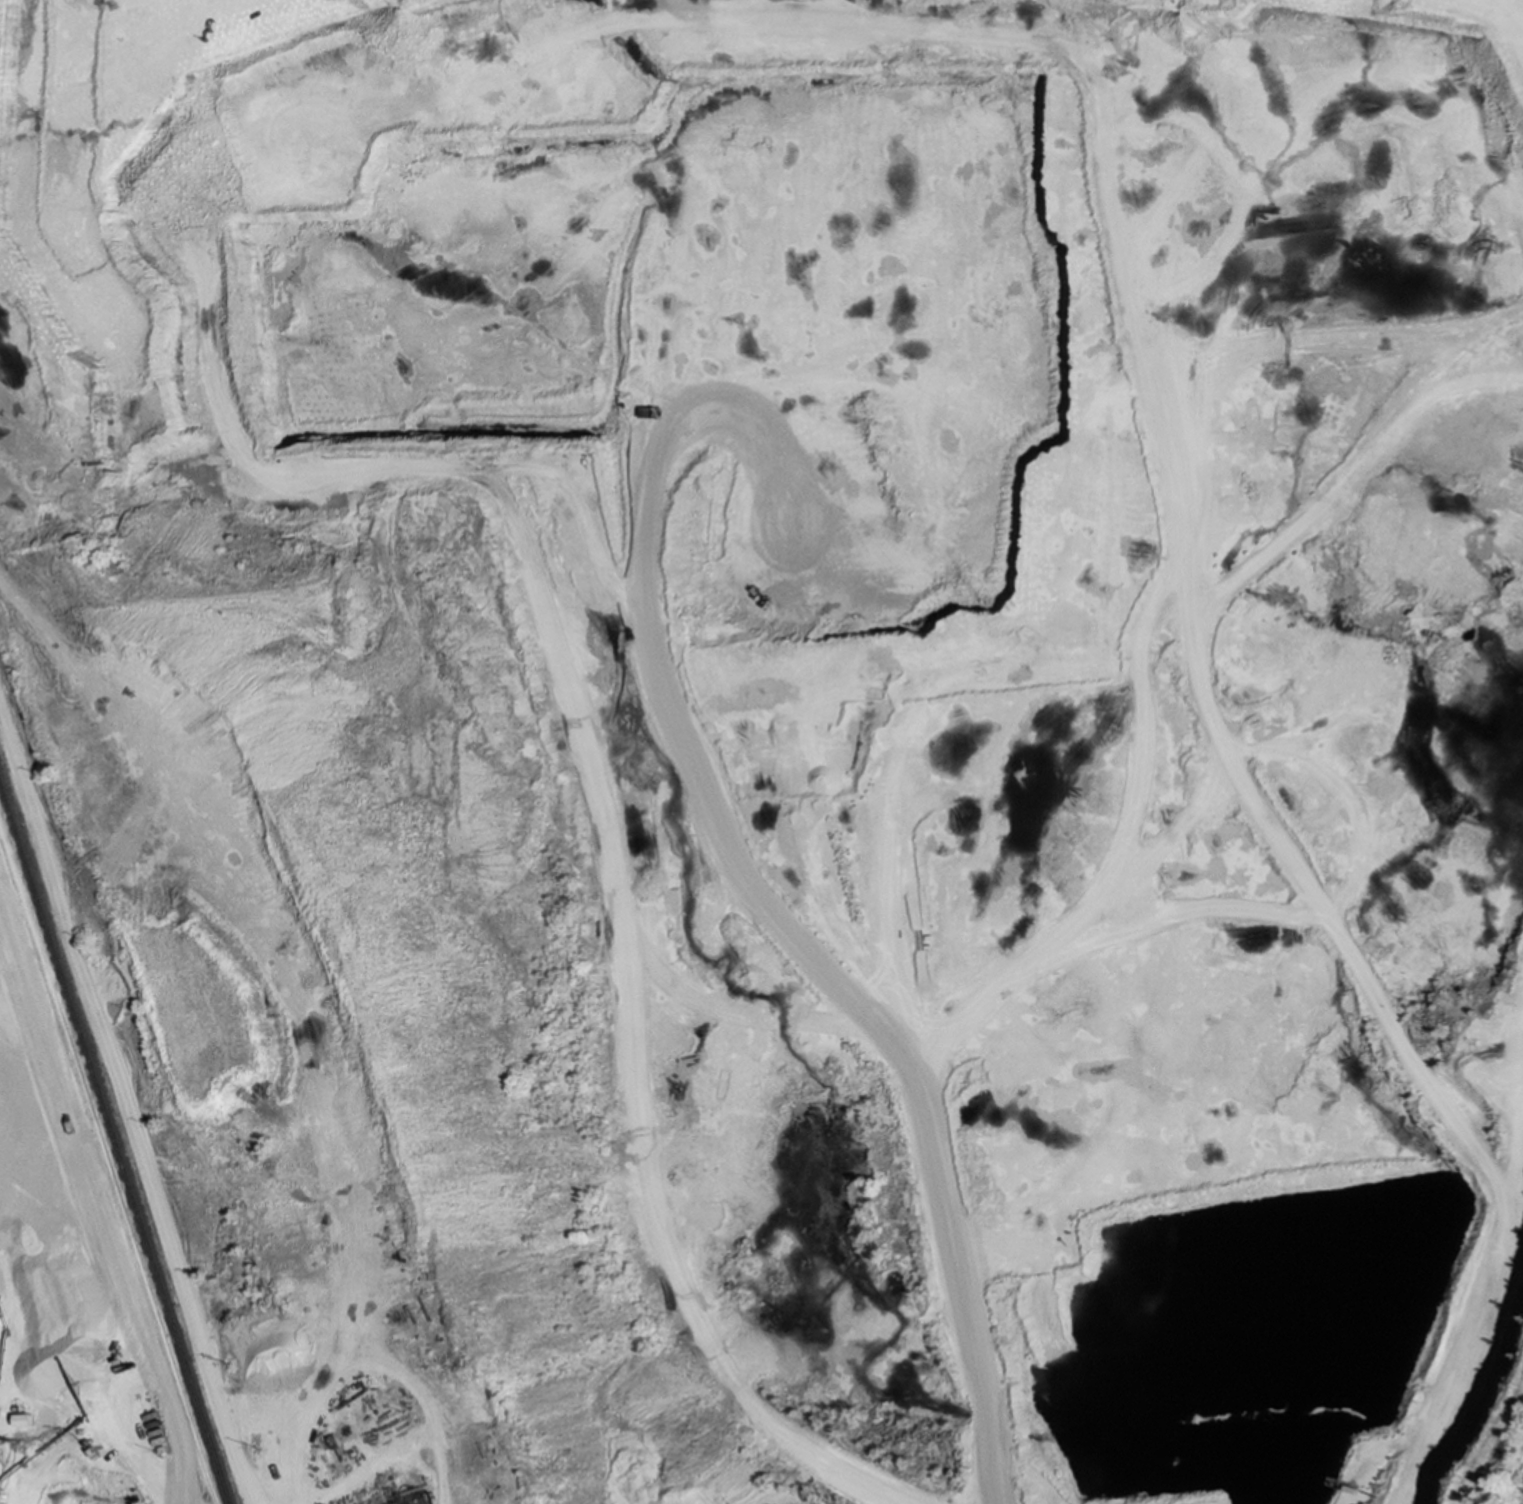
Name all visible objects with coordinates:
quarry: (761, 752)
railway: (114, 1143)
railway: (108, 1168)

